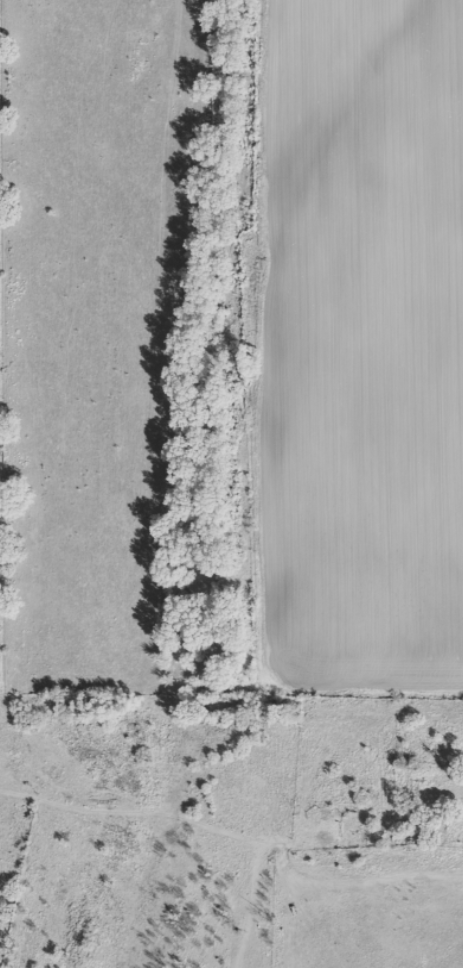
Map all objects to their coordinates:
road: (394, 727)

